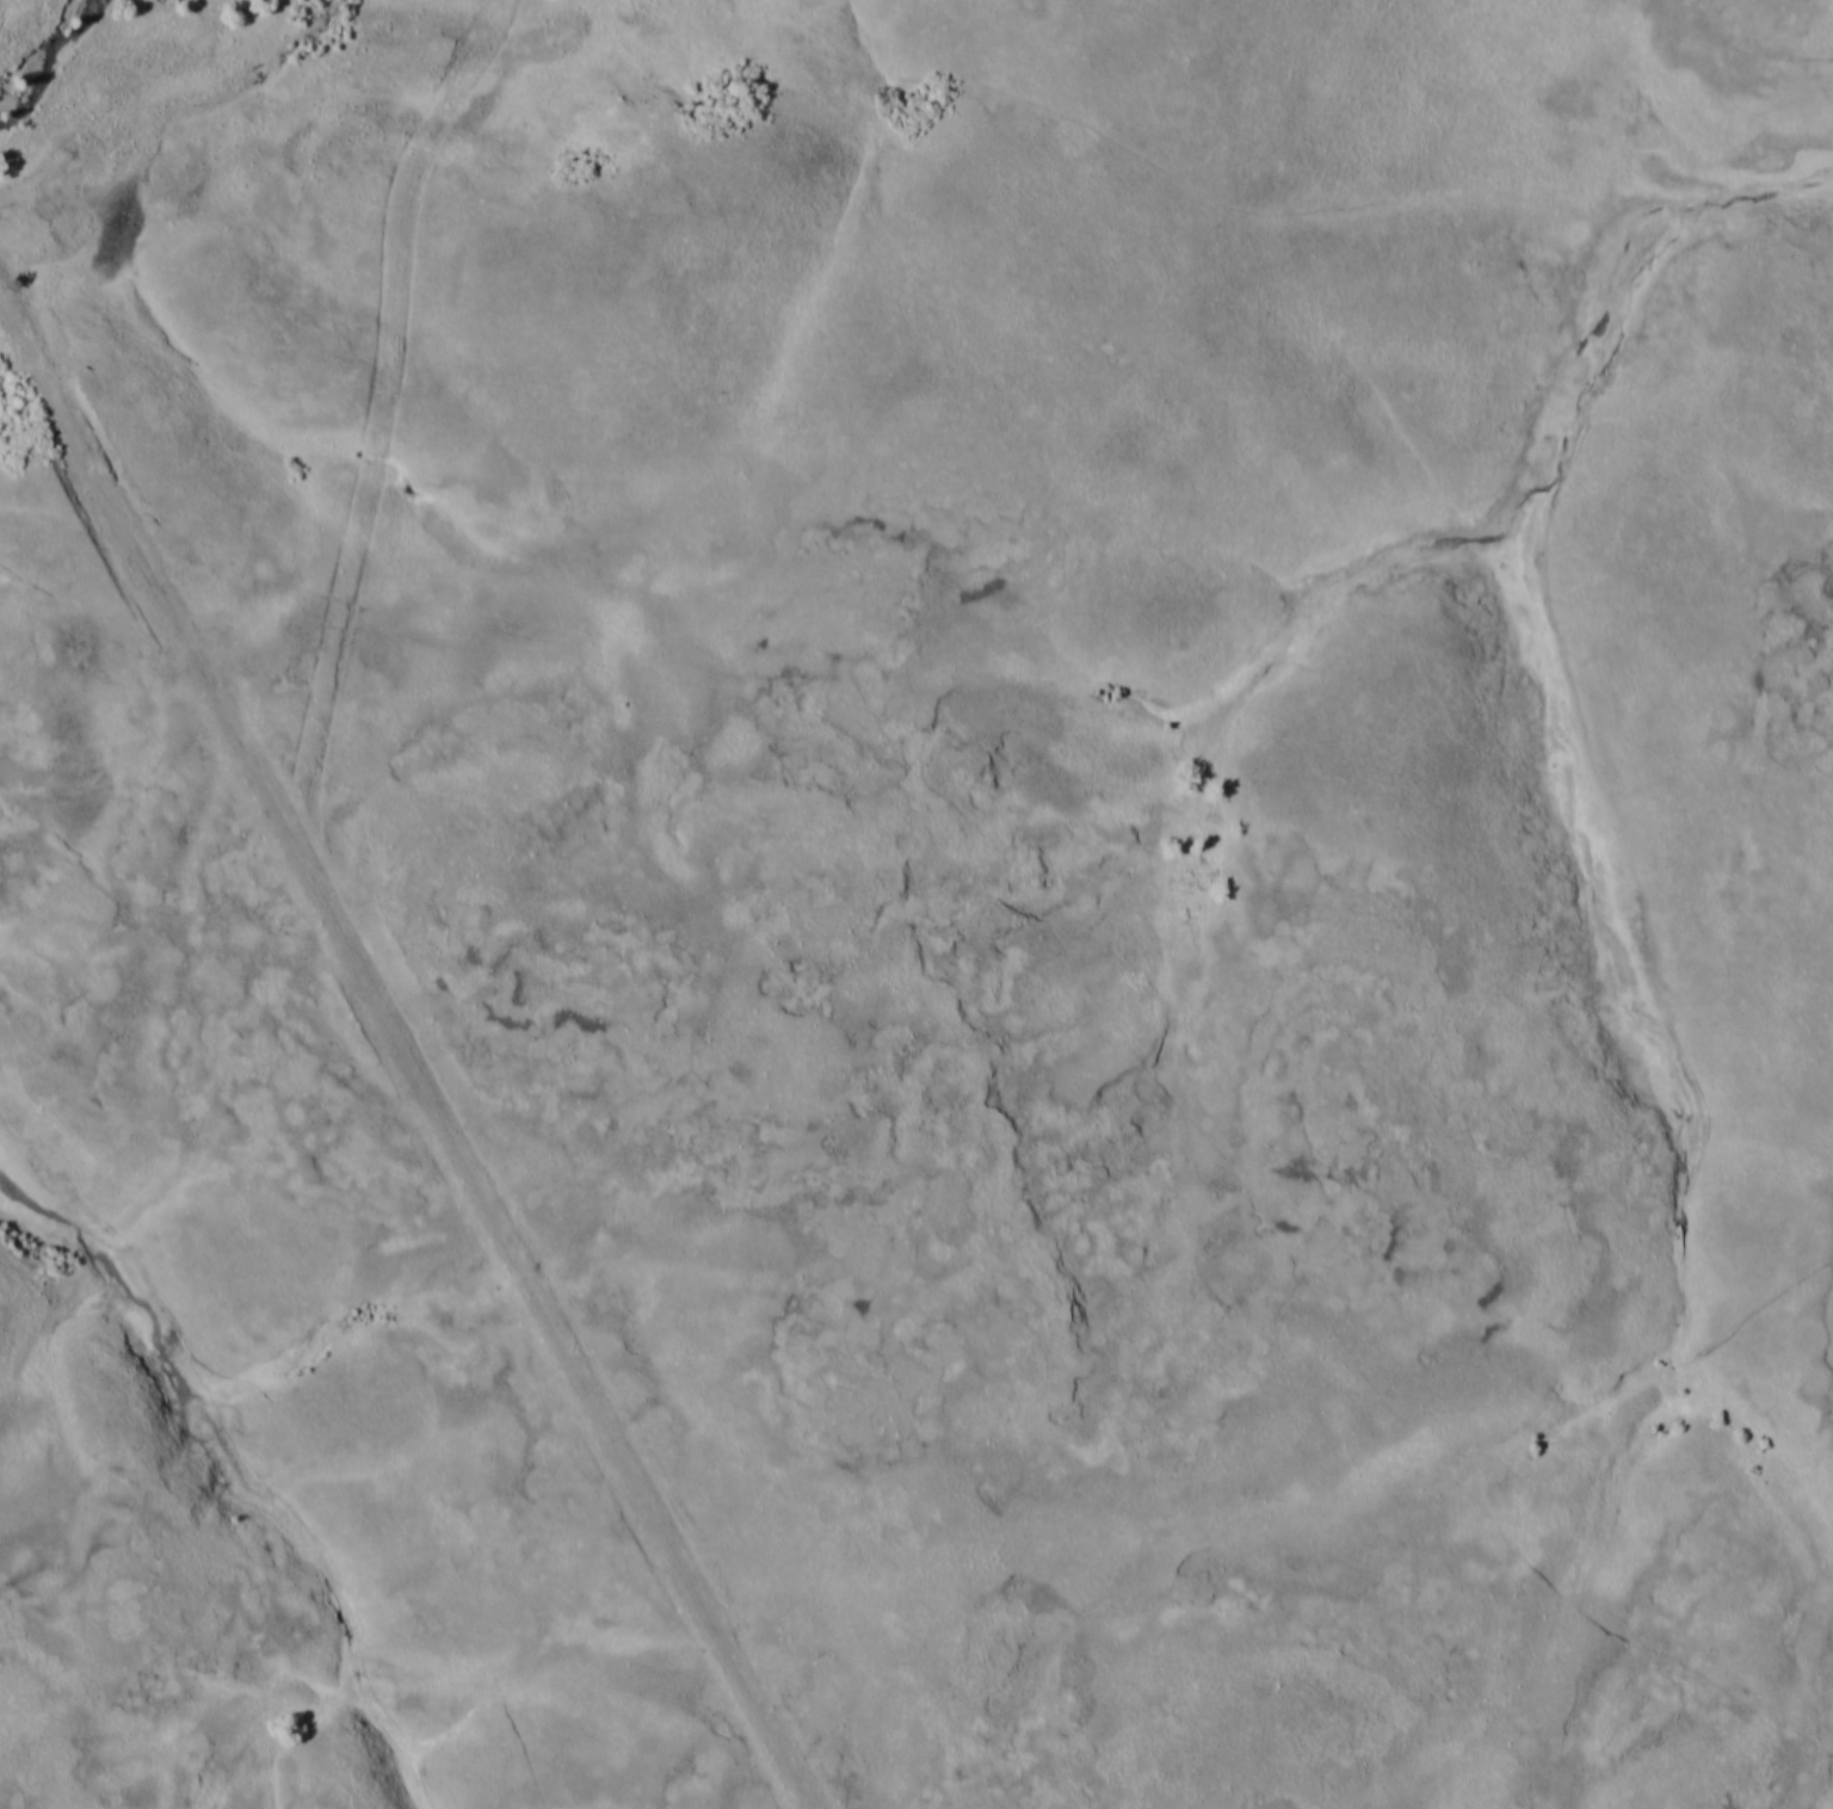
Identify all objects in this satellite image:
road: (388, 409)
road: (412, 1041)

